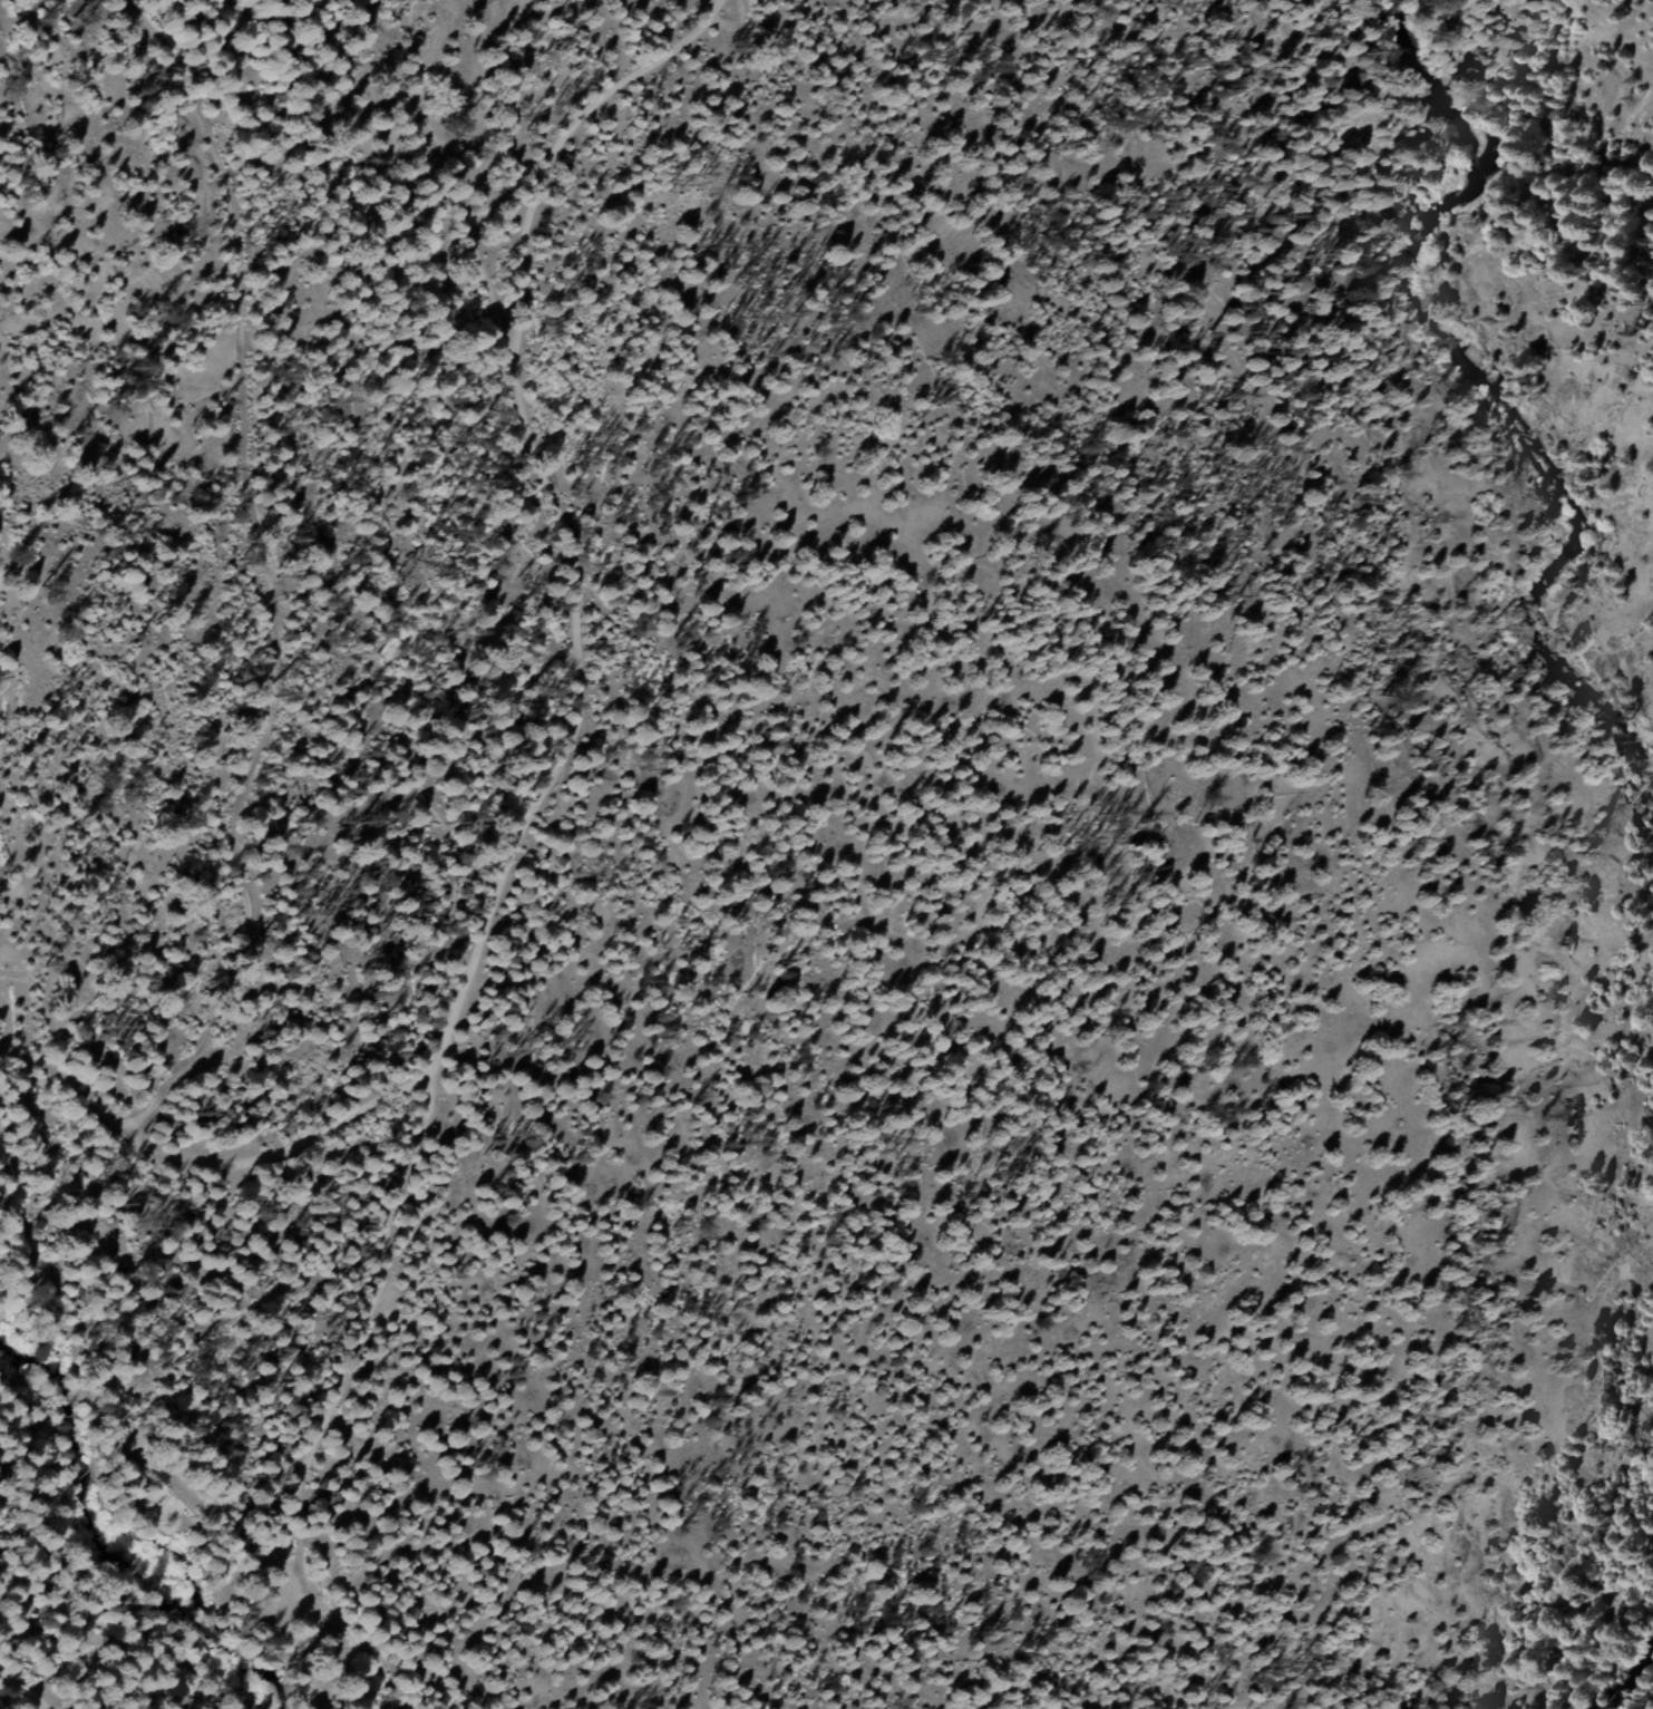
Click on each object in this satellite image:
road: (568, 120)
road: (412, 147)
road: (259, 571)
road: (570, 671)
road: (57, 1080)
road: (282, 1145)
road: (352, 1370)
road: (19, 1693)

